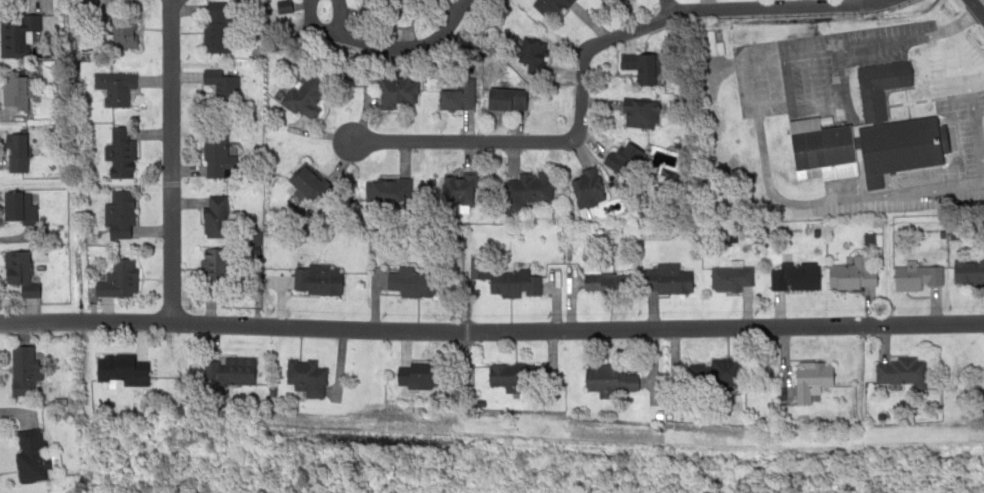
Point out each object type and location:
road: (664, 6)
building: (552, 8)
road: (442, 9)
road: (975, 10)
building: (218, 27)
building: (12, 38)
building: (122, 39)
road: (395, 47)
building: (532, 52)
road: (581, 52)
building: (647, 69)
building: (882, 77)
building: (220, 88)
building: (15, 90)
building: (399, 94)
building: (119, 97)
building: (306, 98)
building: (457, 100)
building: (509, 102)
building: (872, 109)
building: (639, 113)
building: (901, 146)
building: (823, 150)
building: (17, 152)
building: (121, 153)
building: (221, 155)
building: (628, 160)
road: (168, 161)
building: (310, 186)
building: (460, 189)
building: (587, 189)
building: (391, 192)
building: (527, 192)
building: (18, 207)
building: (118, 212)
building: (216, 217)
building: (17, 265)
building: (214, 267)
building: (968, 272)
building: (851, 275)
building: (123, 277)
building: (731, 277)
building: (915, 277)
building: (317, 279)
building: (410, 279)
building: (668, 279)
building: (793, 279)
building: (606, 281)
building: (512, 282)
building: (29, 290)
road: (491, 328)
building: (121, 368)
building: (21, 370)
building: (240, 371)
building: (714, 371)
building: (418, 373)
building: (899, 373)
building: (306, 375)
building: (813, 376)
building: (611, 378)
building: (503, 383)
building: (30, 454)

